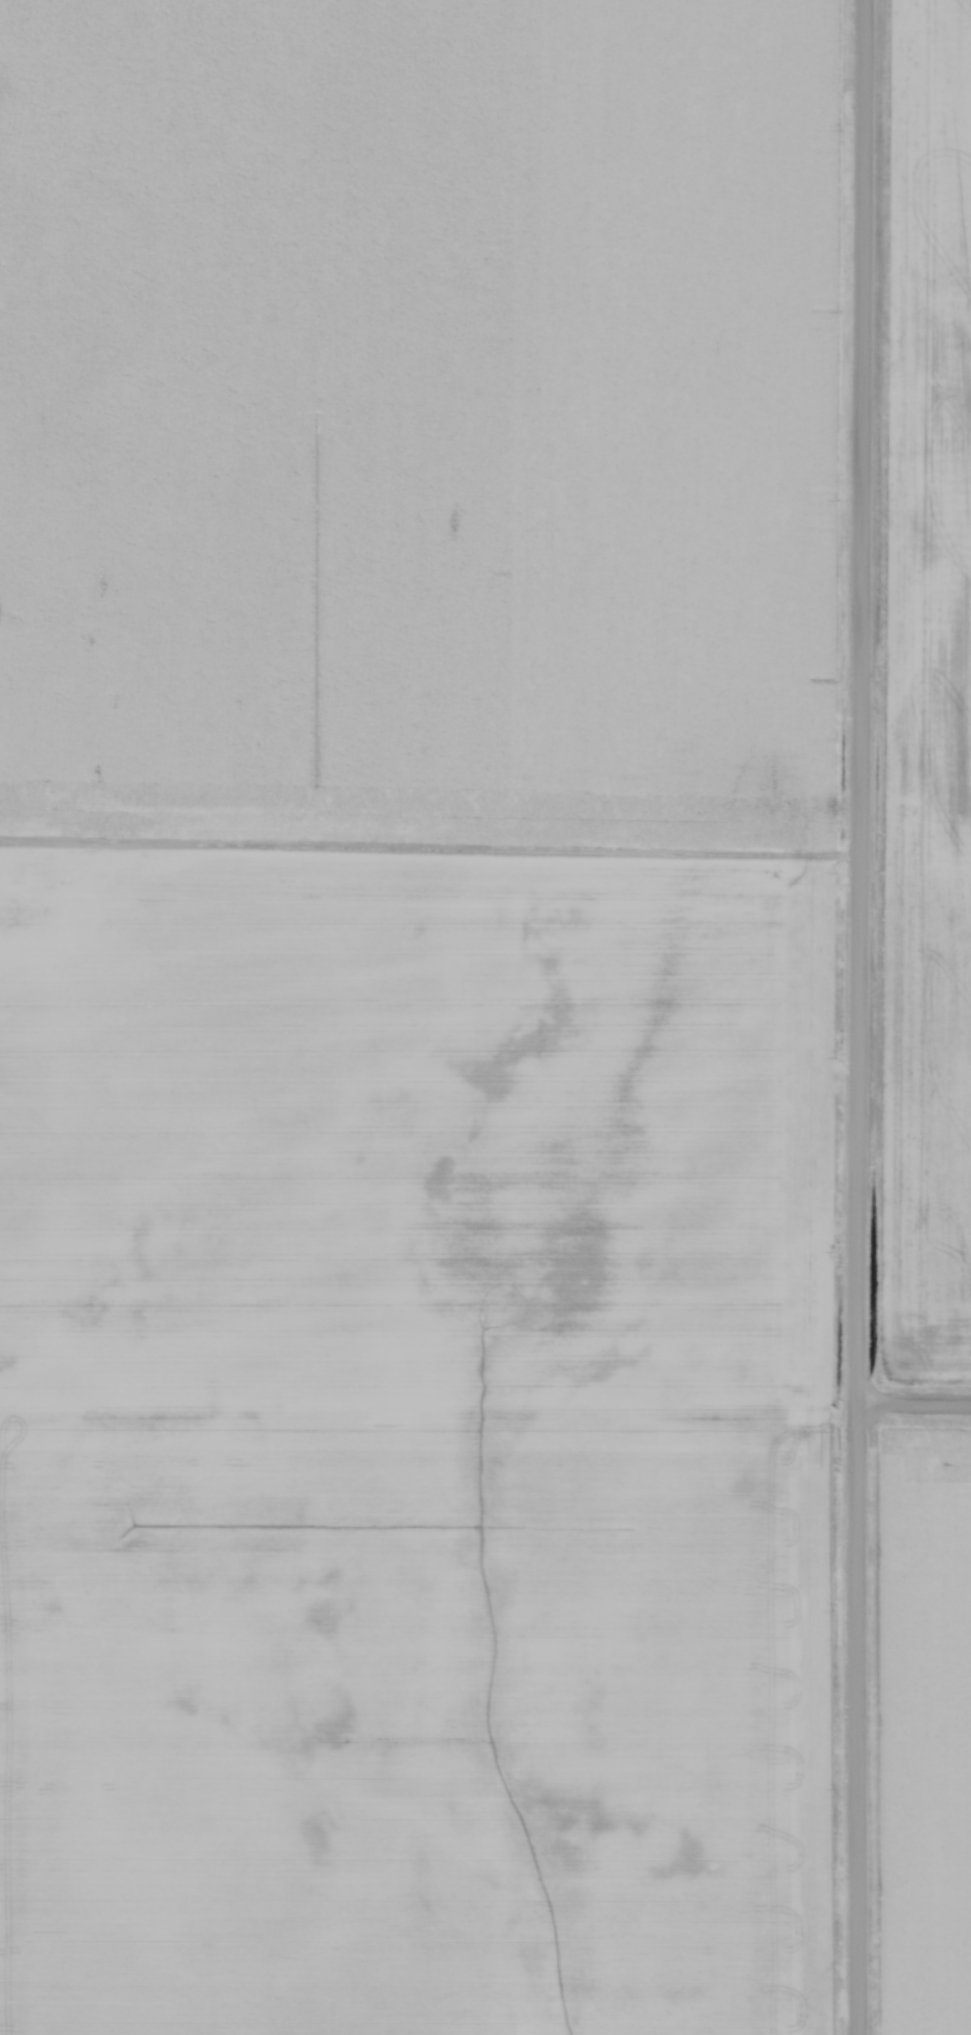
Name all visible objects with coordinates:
road: (853, 1017)
road: (910, 1408)

